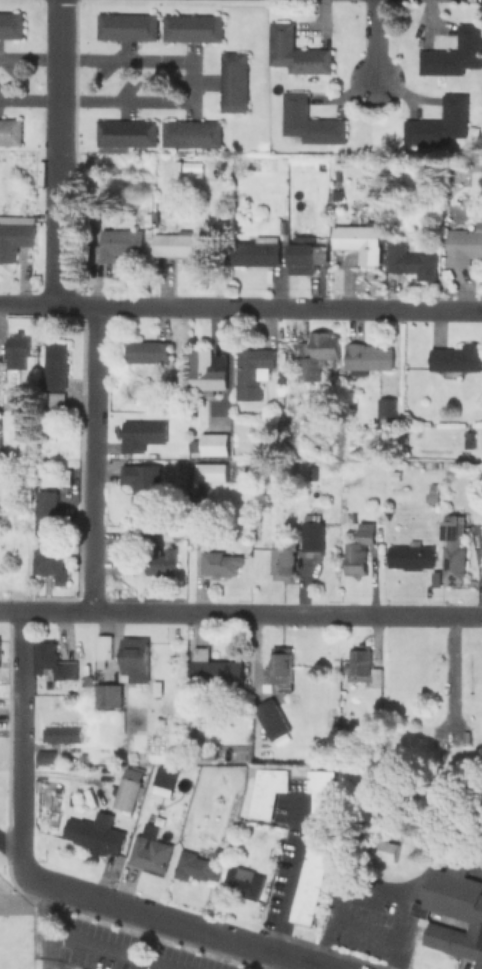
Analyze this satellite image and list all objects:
building: (10, 25)
building: (126, 27)
building: (191, 29)
road: (373, 42)
building: (294, 52)
building: (454, 54)
road: (29, 55)
road: (190, 78)
building: (233, 81)
road: (28, 97)
building: (308, 122)
building: (438, 123)
building: (9, 132)
building: (124, 133)
building: (190, 134)
road: (56, 151)
building: (335, 195)
building: (13, 234)
building: (356, 242)
building: (117, 244)
building: (462, 246)
building: (186, 247)
building: (252, 254)
building: (301, 255)
building: (409, 261)
road: (240, 306)
building: (16, 351)
building: (146, 352)
building: (315, 356)
building: (366, 358)
building: (456, 359)
building: (54, 366)
building: (202, 372)
building: (249, 374)
building: (18, 394)
building: (54, 399)
building: (386, 412)
building: (141, 433)
building: (467, 440)
building: (213, 444)
road: (92, 458)
building: (212, 473)
building: (143, 483)
building: (432, 498)
building: (45, 506)
building: (364, 532)
building: (311, 536)
building: (203, 539)
building: (453, 552)
building: (410, 556)
building: (354, 560)
building: (162, 561)
building: (282, 561)
building: (124, 563)
building: (50, 564)
building: (225, 565)
road: (241, 613)
building: (103, 647)
building: (132, 660)
building: (53, 661)
building: (364, 667)
building: (213, 670)
building: (278, 672)
building: (108, 695)
building: (271, 719)
building: (64, 734)
road: (20, 746)
building: (44, 756)
building: (82, 759)
building: (164, 782)
building: (266, 792)
building: (126, 793)
building: (95, 834)
building: (314, 845)
building: (383, 849)
building: (149, 851)
road: (10, 856)
building: (197, 867)
road: (290, 874)
building: (243, 880)
road: (355, 888)
road: (414, 889)
building: (453, 912)
road: (176, 923)
road: (342, 924)
parking lot: (364, 924)
parking lot: (111, 949)
park: (15, 952)
road: (52, 952)
road: (110, 952)
road: (274, 962)

